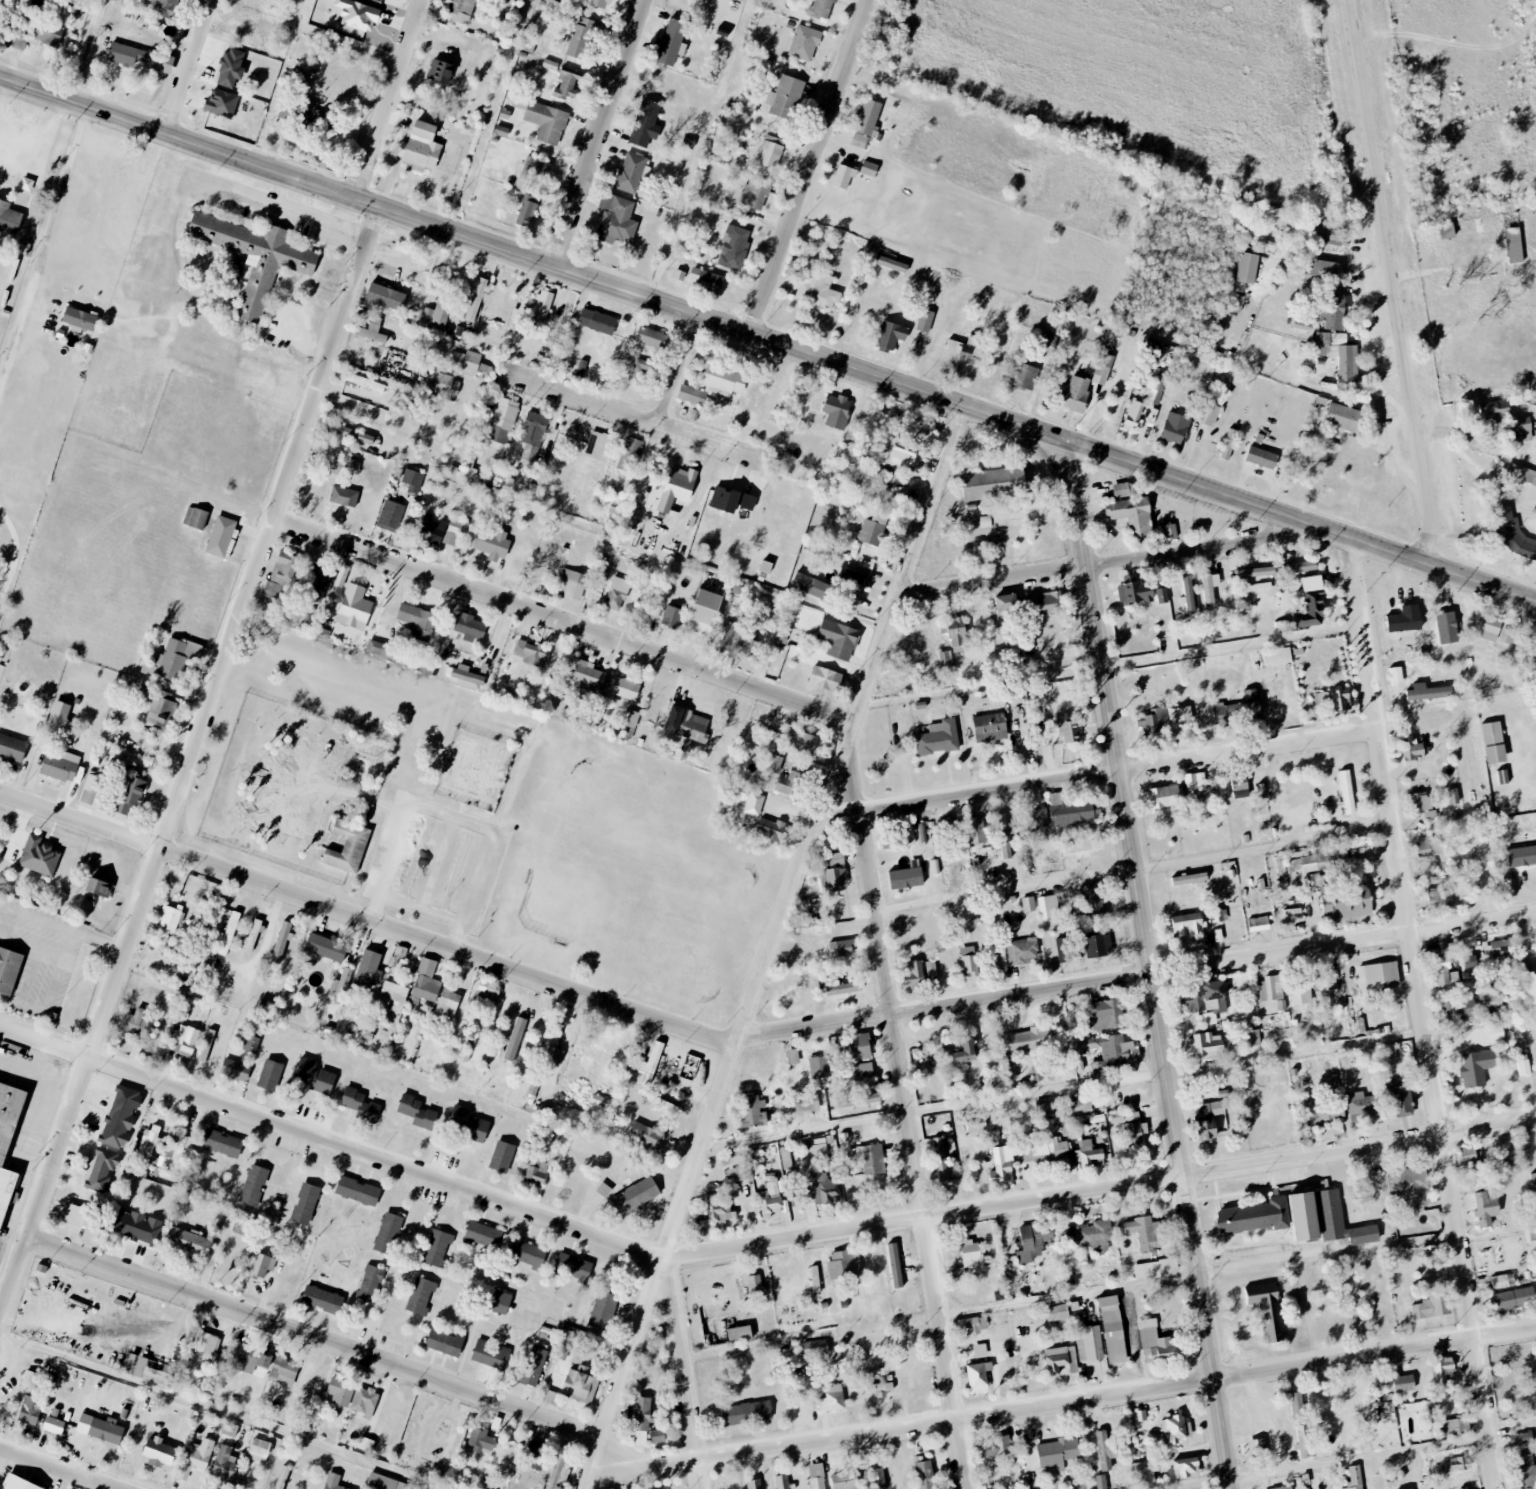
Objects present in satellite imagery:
building: (598, 3)
building: (159, 7)
building: (820, 8)
building: (461, 11)
building: (357, 15)
building: (38, 32)
building: (583, 35)
building: (671, 42)
building: (804, 43)
road: (88, 49)
building: (139, 58)
building: (550, 64)
road: (190, 65)
building: (230, 68)
building: (439, 71)
building: (568, 86)
road: (44, 89)
road: (3, 94)
building: (784, 96)
road: (389, 98)
building: (220, 103)
road: (494, 115)
building: (543, 119)
building: (866, 121)
building: (645, 123)
building: (500, 131)
road: (599, 132)
road: (43, 145)
building: (419, 147)
road: (702, 149)
building: (771, 151)
road: (812, 167)
building: (868, 168)
building: (536, 169)
building: (629, 172)
building: (843, 176)
road: (279, 188)
building: (754, 195)
road: (281, 206)
building: (526, 209)
building: (9, 218)
building: (615, 219)
building: (1446, 231)
building: (1320, 234)
building: (1513, 245)
building: (734, 247)
road: (44, 255)
building: (255, 257)
building: (890, 264)
building: (1248, 268)
building: (1323, 269)
building: (237, 270)
road: (575, 271)
building: (679, 275)
building: (706, 278)
road: (1394, 283)
building: (817, 291)
building: (385, 299)
building: (475, 299)
building: (543, 303)
building: (1335, 310)
building: (434, 317)
building: (79, 318)
building: (925, 320)
building: (596, 321)
building: (371, 330)
building: (890, 336)
building: (651, 337)
building: (1048, 345)
building: (966, 347)
building: (1339, 357)
building: (469, 362)
building: (643, 365)
building: (1102, 369)
road: (688, 374)
building: (1024, 376)
building: (365, 382)
building: (713, 384)
building: (447, 385)
building: (1156, 389)
building: (1076, 394)
building: (1494, 410)
building: (836, 411)
building: (505, 413)
building: (1134, 413)
building: (1206, 413)
building: (1343, 417)
road: (633, 420)
building: (1524, 424)
building: (1174, 428)
building: (351, 434)
building: (497, 435)
building: (1228, 444)
building: (598, 446)
building: (631, 448)
building: (843, 455)
road: (1466, 455)
building: (894, 456)
building: (1261, 458)
building: (338, 466)
building: (1521, 474)
building: (676, 488)
building: (1121, 490)
building: (343, 496)
building: (723, 500)
building: (747, 502)
building: (1131, 514)
building: (195, 518)
building: (389, 518)
road: (1300, 518)
building: (872, 530)
building: (1169, 531)
building: (1513, 534)
building: (220, 536)
building: (492, 544)
road: (17, 553)
road: (1117, 564)
building: (765, 567)
building: (864, 567)
building: (1299, 567)
building: (1256, 572)
building: (280, 576)
building: (1159, 578)
building: (317, 583)
building: (1312, 583)
building: (571, 584)
building: (808, 585)
building: (1264, 585)
building: (1209, 588)
building: (1134, 591)
building: (1188, 593)
building: (616, 594)
building: (1162, 595)
building: (1005, 602)
building: (1046, 604)
building: (354, 607)
building: (703, 612)
building: (1310, 612)
building: (671, 616)
building: (1405, 619)
building: (417, 621)
road: (559, 625)
building: (469, 627)
building: (1447, 628)
building: (1489, 628)
building: (954, 630)
building: (1506, 636)
building: (726, 637)
building: (838, 639)
building: (377, 647)
building: (750, 647)
building: (531, 653)
building: (1277, 656)
building: (175, 657)
building: (945, 658)
road: (1106, 667)
building: (585, 675)
building: (467, 677)
building: (1396, 677)
building: (824, 679)
building: (624, 688)
building: (1428, 692)
building: (1332, 700)
building: (161, 708)
building: (1238, 708)
building: (58, 716)
road: (1431, 716)
building: (1179, 717)
building: (1150, 721)
building: (630, 722)
building: (687, 724)
building: (989, 728)
building: (1068, 729)
building: (71, 737)
building: (938, 738)
building: (770, 739)
building: (802, 742)
building: (1493, 743)
building: (11, 748)
building: (1413, 752)
road: (189, 756)
building: (774, 764)
building: (60, 765)
road: (1088, 777)
building: (1503, 777)
building: (1195, 782)
building: (788, 783)
building: (1239, 783)
building: (90, 789)
building: (1346, 792)
building: (129, 793)
building: (1241, 794)
building: (1165, 797)
building: (1453, 797)
building: (1055, 798)
building: (754, 804)
building: (1422, 804)
building: (1074, 814)
building: (770, 829)
building: (975, 830)
building: (922, 832)
building: (909, 835)
building: (1004, 836)
building: (1422, 846)
building: (346, 847)
building: (38, 856)
building: (1522, 856)
building: (1318, 862)
building: (935, 866)
building: (835, 871)
road: (1135, 871)
building: (905, 878)
building: (1189, 878)
building: (98, 887)
building: (1434, 894)
building: (1092, 896)
building: (1028, 903)
building: (1346, 904)
building: (1048, 907)
building: (1222, 915)
road: (368, 917)
building: (169, 919)
building: (974, 922)
building: (1186, 924)
building: (1258, 924)
building: (229, 933)
building: (253, 935)
building: (322, 940)
building: (281, 943)
building: (1098, 944)
road: (771, 947)
building: (840, 948)
building: (1501, 948)
building: (1063, 950)
building: (400, 951)
building: (1020, 951)
building: (1470, 961)
road: (1146, 964)
building: (1441, 964)
building: (8, 969)
building: (368, 969)
building: (931, 970)
building: (912, 972)
road: (1136, 975)
building: (1381, 976)
building: (426, 981)
building: (342, 985)
building: (1325, 985)
building: (843, 988)
building: (1270, 988)
building: (1529, 989)
building: (487, 992)
building: (1300, 993)
building: (391, 994)
building: (172, 995)
building: (1206, 1000)
building: (447, 1004)
building: (1458, 1009)
road: (1416, 1010)
building: (1107, 1014)
building: (137, 1025)
building: (1252, 1037)
building: (514, 1039)
building: (182, 1040)
building: (207, 1042)
building: (251, 1044)
building: (1206, 1044)
building: (859, 1046)
building: (1025, 1047)
building: (553, 1049)
building: (960, 1049)
building: (792, 1056)
building: (691, 1061)
building: (647, 1064)
building: (1523, 1066)
building: (819, 1067)
building: (1475, 1067)
building: (235, 1070)
building: (863, 1070)
building: (269, 1075)
building: (314, 1075)
road: (1060, 1089)
building: (1400, 1097)
building: (858, 1100)
building: (800, 1103)
building: (359, 1104)
road: (908, 1104)
building: (1077, 1105)
building: (1362, 1105)
building: (752, 1111)
building: (1322, 1111)
building: (416, 1112)
building: (120, 1116)
building: (460, 1116)
building: (1207, 1119)
building: (1066, 1127)
building: (478, 1130)
building: (645, 1135)
building: (1133, 1135)
building: (7, 1139)
road: (331, 1142)
building: (221, 1143)
building: (147, 1144)
building: (1041, 1148)
building: (174, 1155)
building: (1089, 1155)
building: (501, 1156)
building: (1468, 1156)
building: (866, 1158)
building: (1511, 1158)
building: (733, 1159)
building: (940, 1160)
building: (1002, 1167)
building: (101, 1171)
building: (536, 1173)
building: (1410, 1185)
building: (253, 1186)
building: (1533, 1187)
road: (1099, 1188)
building: (819, 1189)
building: (603, 1190)
building: (357, 1191)
building: (634, 1196)
building: (769, 1200)
building: (305, 1203)
building: (1485, 1208)
building: (718, 1210)
building: (72, 1215)
building: (1253, 1216)
building: (1303, 1216)
building: (1340, 1221)
building: (135, 1226)
building: (386, 1232)
building: (1145, 1232)
building: (482, 1234)
building: (1093, 1235)
building: (1033, 1240)
building: (188, 1241)
building: (436, 1248)
building: (527, 1253)
building: (972, 1255)
building: (844, 1264)
building: (260, 1265)
building: (894, 1265)
building: (572, 1267)
building: (1149, 1269)
building: (814, 1279)
building: (1500, 1281)
building: (370, 1283)
building: (755, 1286)
road: (1107, 1292)
building: (420, 1296)
building: (321, 1299)
building: (1513, 1299)
building: (500, 1302)
building: (1431, 1306)
building: (602, 1310)
building: (1266, 1310)
building: (1056, 1313)
building: (970, 1324)
building: (1112, 1329)
building: (739, 1334)
road: (312, 1341)
building: (443, 1342)
building: (205, 1343)
building: (1089, 1344)
building: (814, 1347)
building: (979, 1350)
building: (490, 1355)
building: (249, 1359)
building: (1060, 1360)
building: (532, 1366)
building: (1443, 1370)
building: (283, 1372)
road: (680, 1373)
building: (978, 1375)
building: (30, 1379)
building: (1403, 1382)
building: (579, 1387)
building: (876, 1390)
building: (340, 1391)
building: (548, 1396)
building: (831, 1398)
building: (364, 1401)
road: (1065, 1403)
building: (29, 1410)
road: (219, 1411)
building: (746, 1413)
building: (1140, 1415)
building: (639, 1418)
building: (53, 1425)
building: (1452, 1427)
building: (229, 1429)
building: (1174, 1429)
building: (105, 1430)
building: (657, 1436)
building: (1523, 1438)
building: (480, 1441)
building: (365, 1444)
building: (996, 1447)
building: (1257, 1448)
building: (258, 1450)
building: (1104, 1450)
building: (157, 1453)
building: (1057, 1453)
building: (536, 1455)
building: (196, 1457)
building: (223, 1462)
building: (1457, 1464)
road: (1346, 1466)
road: (58, 1468)
building: (1184, 1468)
building: (1524, 1471)
building: (557, 1472)
building: (1142, 1473)
building: (924, 1475)
building: (1354, 1475)
building: (816, 1476)
building: (281, 1477)
building: (844, 1480)
building: (332, 1481)
building: (383, 1482)
building: (781, 1482)
building: (1101, 1482)
building: (17, 1483)
building: (754, 1484)
building: (1284, 1488)
building: (1463, 1488)

